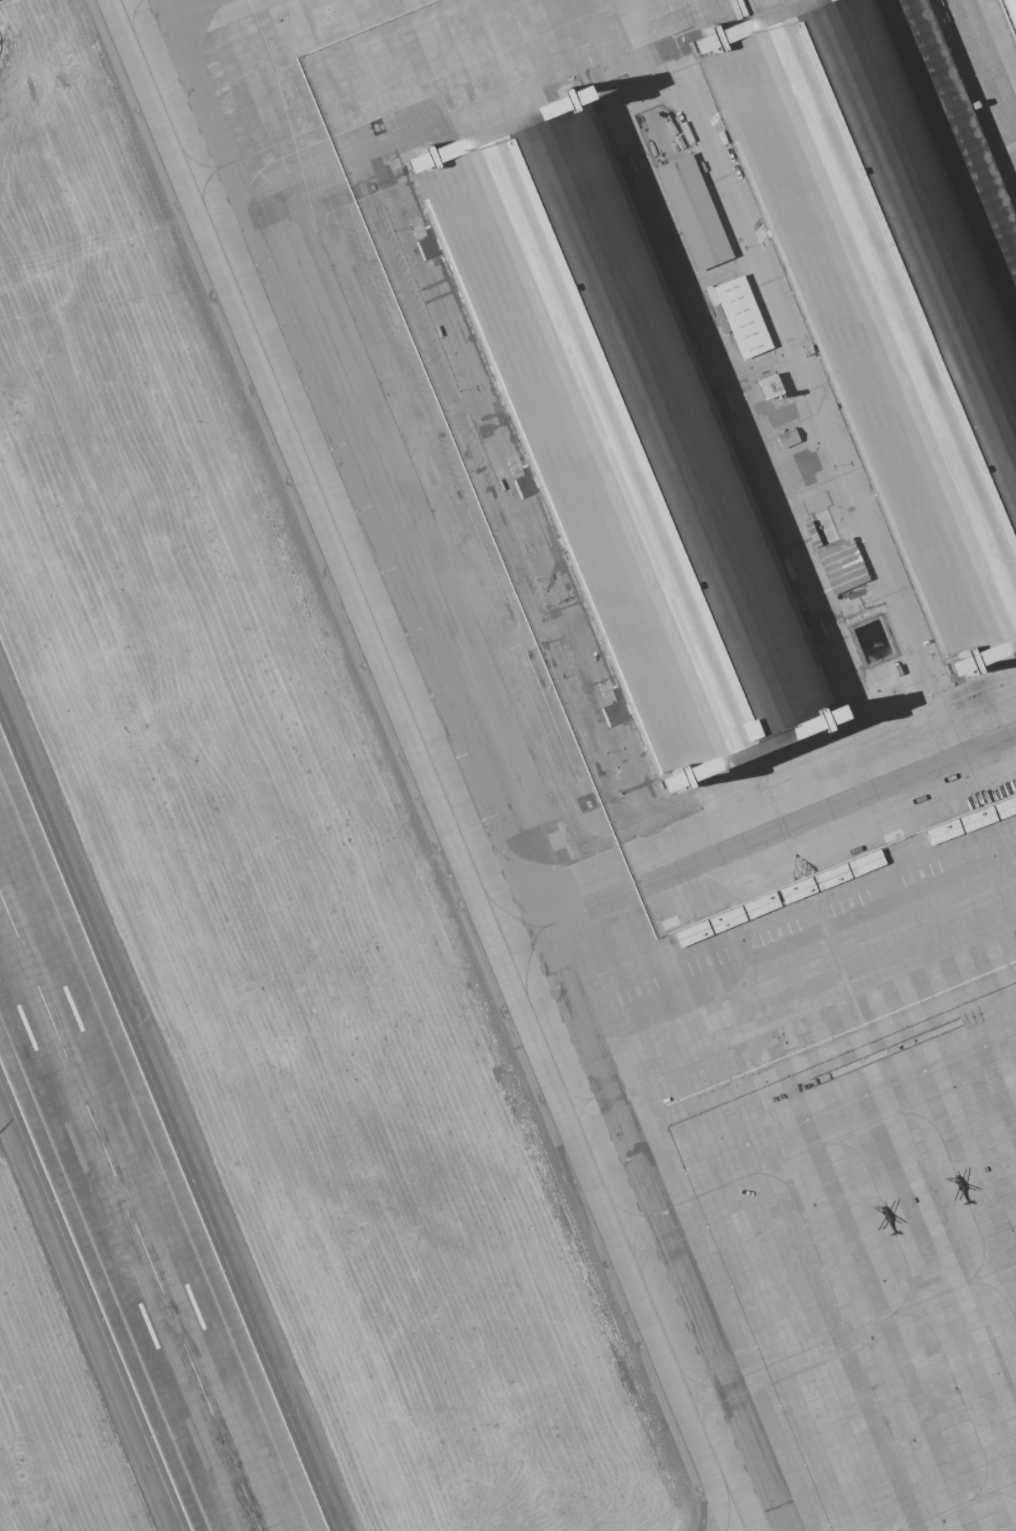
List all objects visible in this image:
parking lot: (1009, 14)
building: (1010, 15)
building: (690, 212)
airport hangar: (890, 278)
building: (890, 278)
building: (739, 318)
building: (769, 386)
airport hangar: (616, 432)
building: (616, 432)
building: (786, 438)
building: (841, 566)
airport apron: (709, 622)
airport taxiway: (434, 765)
airport: (507, 765)
building: (1005, 812)
building: (977, 824)
building: (942, 837)
building: (866, 868)
building: (831, 881)
building: (796, 895)
building: (760, 909)
building: (725, 924)
building: (691, 939)
airport runway: (130, 1212)

